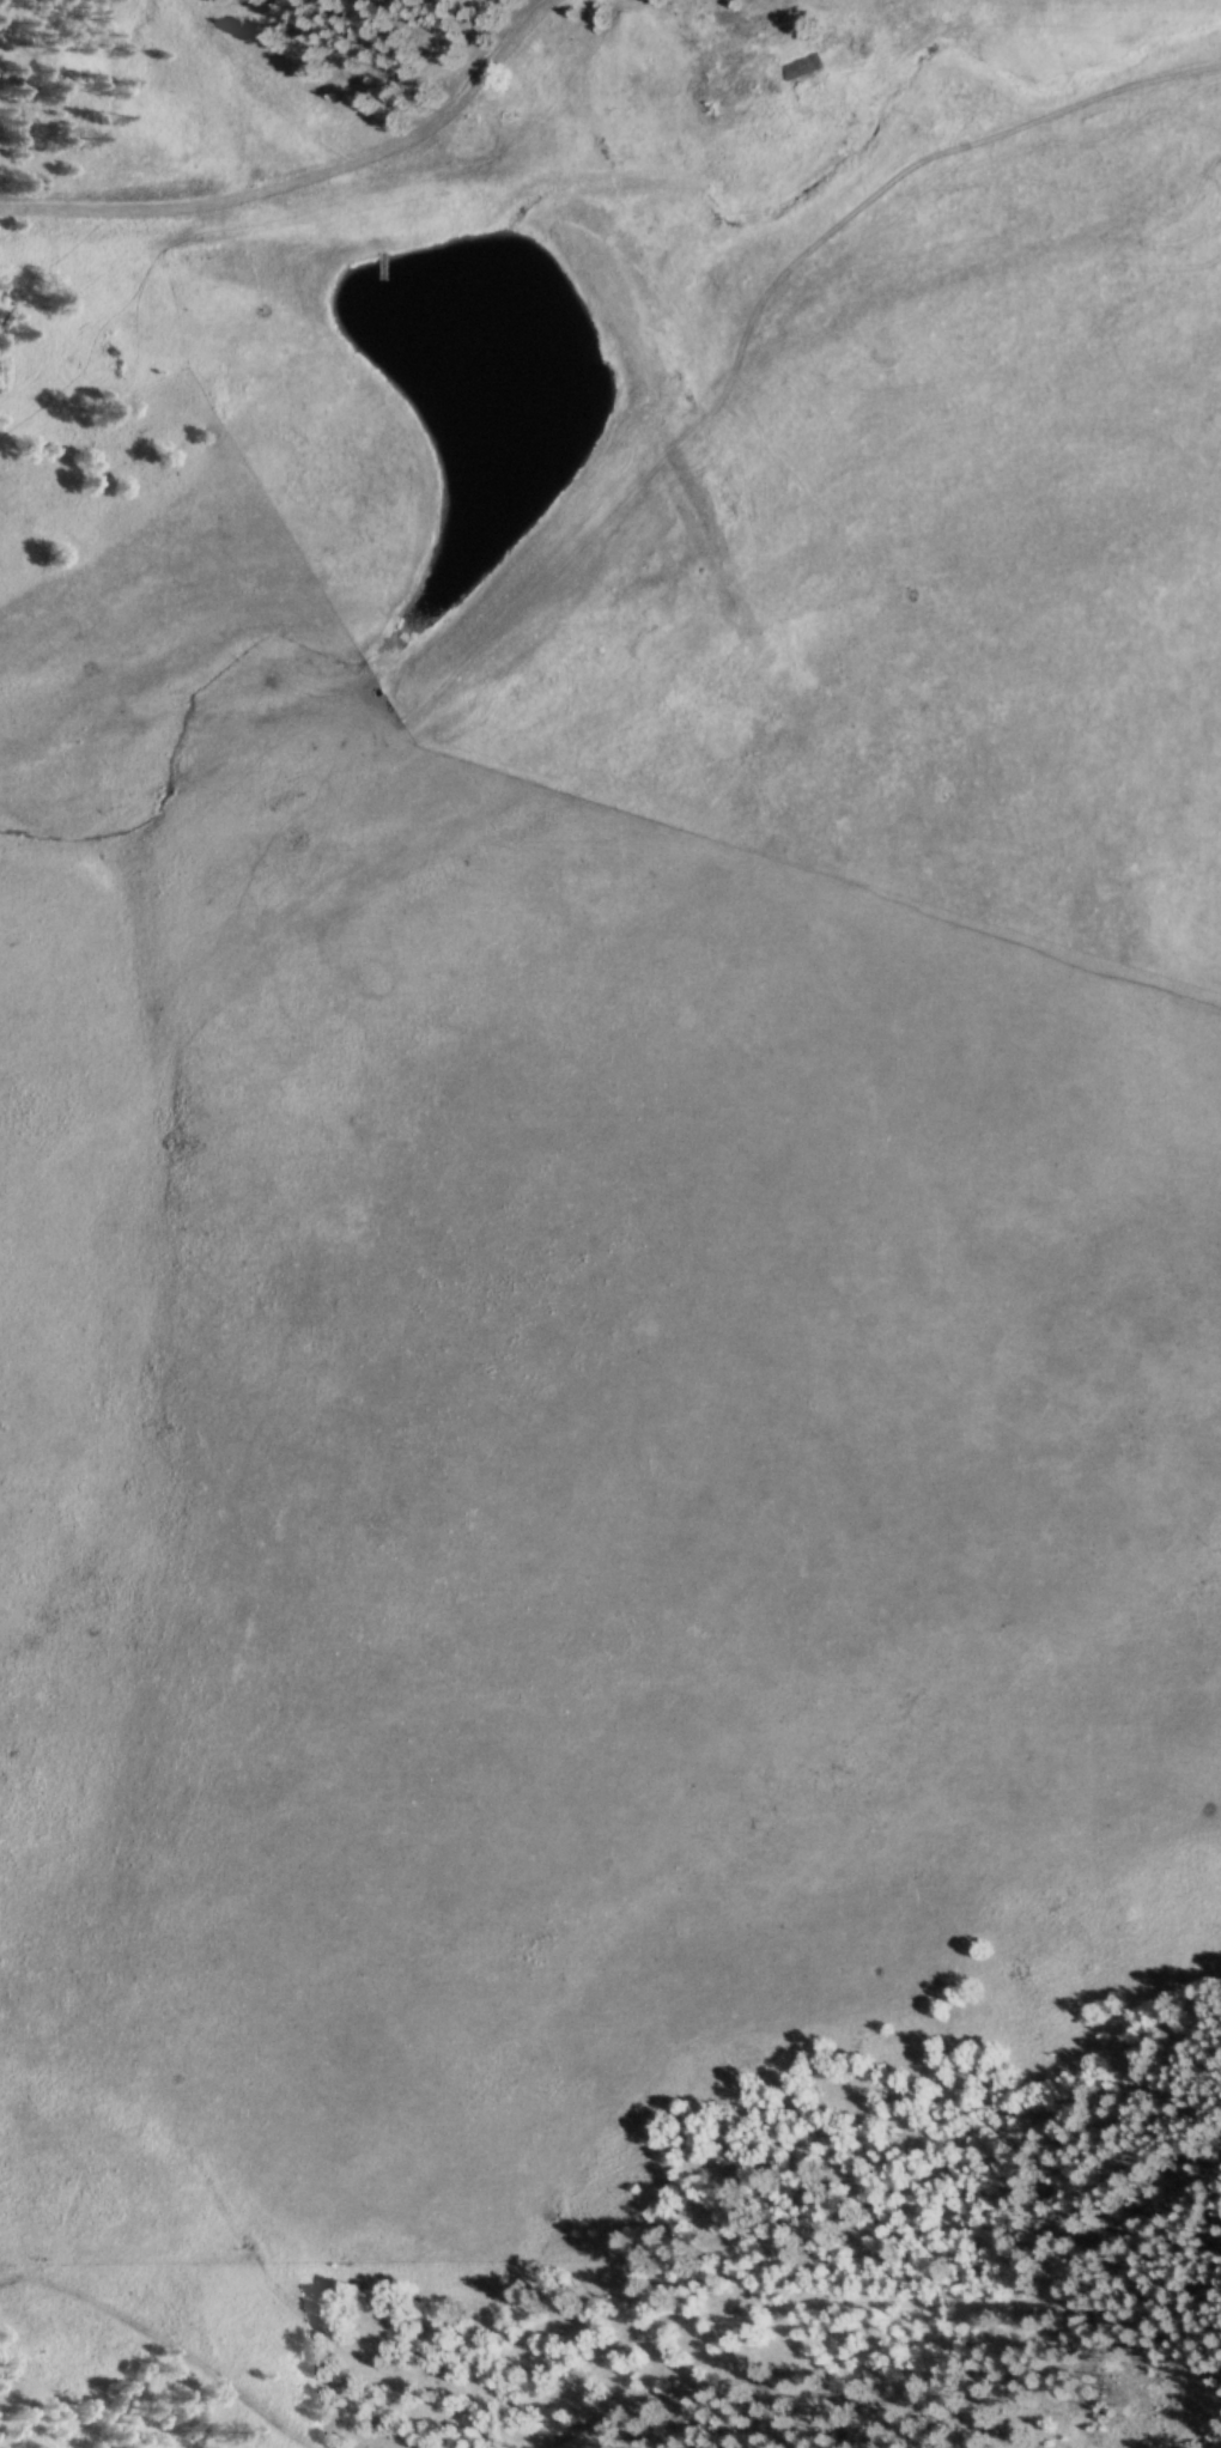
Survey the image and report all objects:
building: (797, 75)
road: (165, 2345)
road: (626, 2350)
road: (789, 2387)

